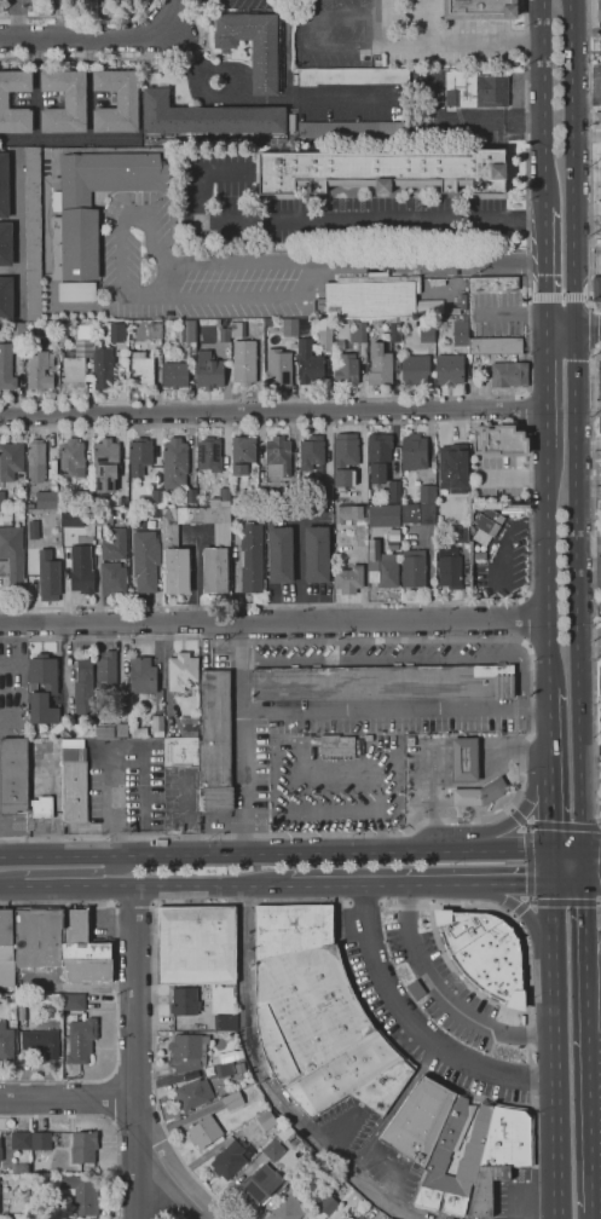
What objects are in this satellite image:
road: (233, 1)
building: (480, 8)
building: (599, 11)
road: (76, 13)
road: (17, 18)
road: (105, 36)
road: (439, 44)
building: (252, 45)
building: (600, 53)
road: (190, 56)
road: (129, 58)
building: (352, 75)
building: (475, 89)
road: (214, 92)
road: (586, 98)
building: (21, 99)
building: (4, 100)
building: (65, 100)
building: (117, 100)
road: (304, 102)
road: (543, 103)
building: (210, 117)
building: (597, 120)
building: (354, 129)
road: (590, 157)
road: (572, 162)
building: (382, 171)
building: (4, 185)
building: (80, 214)
road: (326, 218)
building: (33, 233)
building: (5, 243)
parking lot: (134, 256)
road: (424, 264)
road: (545, 266)
road: (164, 279)
building: (492, 283)
building: (596, 288)
building: (76, 291)
road: (304, 295)
building: (371, 295)
road: (559, 296)
building: (6, 297)
building: (463, 301)
building: (428, 307)
building: (451, 311)
road: (560, 325)
road: (588, 325)
building: (290, 327)
building: (304, 327)
building: (17, 329)
building: (237, 329)
building: (154, 330)
building: (116, 331)
building: (187, 331)
building: (360, 331)
building: (394, 331)
building: (461, 331)
building: (224, 334)
building: (325, 334)
building: (353, 335)
building: (427, 335)
building: (339, 345)
building: (495, 345)
building: (79, 357)
building: (244, 362)
building: (310, 363)
building: (380, 364)
building: (103, 365)
building: (6, 368)
building: (278, 368)
building: (347, 368)
building: (600, 368)
building: (415, 369)
building: (449, 369)
building: (39, 370)
building: (141, 371)
building: (208, 371)
building: (174, 375)
building: (508, 375)
road: (547, 386)
building: (600, 391)
road: (460, 395)
road: (272, 410)
road: (520, 410)
building: (600, 426)
building: (504, 441)
building: (208, 452)
building: (311, 452)
building: (414, 452)
building: (139, 455)
building: (243, 455)
building: (278, 456)
building: (378, 456)
building: (71, 458)
building: (345, 458)
building: (10, 461)
building: (36, 461)
building: (174, 462)
building: (105, 464)
building: (453, 468)
building: (325, 491)
building: (394, 491)
building: (288, 492)
building: (259, 493)
building: (427, 493)
building: (85, 495)
building: (191, 495)
building: (224, 495)
building: (410, 496)
building: (156, 497)
building: (1, 499)
building: (45, 499)
building: (122, 502)
building: (599, 508)
road: (530, 512)
building: (133, 513)
building: (141, 513)
building: (155, 513)
building: (351, 513)
building: (418, 513)
building: (381, 514)
building: (102, 516)
building: (70, 519)
building: (187, 520)
building: (487, 525)
building: (461, 533)
building: (393, 538)
building: (114, 545)
road: (588, 545)
building: (317, 553)
building: (281, 554)
building: (12, 557)
building: (250, 557)
building: (145, 560)
building: (382, 566)
building: (449, 567)
road: (547, 567)
building: (414, 568)
building: (81, 570)
building: (215, 570)
building: (175, 571)
building: (599, 572)
building: (112, 577)
building: (48, 579)
building: (348, 579)
road: (594, 582)
road: (576, 588)
building: (600, 608)
road: (273, 620)
road: (521, 620)
road: (411, 657)
building: (105, 668)
building: (181, 670)
building: (141, 675)
building: (385, 682)
building: (51, 686)
building: (83, 686)
road: (547, 693)
building: (123, 704)
road: (395, 709)
road: (532, 720)
building: (157, 726)
building: (189, 726)
building: (79, 728)
building: (112, 730)
building: (139, 732)
road: (547, 736)
road: (247, 738)
building: (410, 740)
building: (215, 743)
building: (359, 746)
building: (336, 747)
building: (180, 751)
building: (44, 758)
building: (464, 759)
gas station: (464, 759)
road: (376, 768)
building: (13, 775)
building: (74, 781)
building: (479, 793)
building: (41, 807)
road: (509, 809)
road: (548, 813)
road: (504, 826)
road: (562, 826)
road: (600, 826)
road: (600, 849)
road: (566, 850)
traffic signals: (583, 850)
road: (591, 850)
traffic signals: (550, 851)
road: (275, 853)
road: (527, 861)
road: (583, 867)
road: (68, 871)
road: (420, 884)
traffic signals: (551, 884)
road: (576, 884)
traffic signals: (584, 884)
road: (67, 885)
road: (212, 886)
road: (317, 901)
road: (565, 901)
road: (135, 912)
road: (512, 914)
road: (526, 918)
road: (584, 929)
building: (37, 937)
building: (80, 938)
building: (196, 944)
building: (6, 949)
building: (482, 952)
road: (594, 954)
building: (86, 971)
road: (116, 988)
building: (21, 1001)
building: (73, 1001)
building: (185, 1001)
road: (450, 1003)
road: (590, 1004)
building: (22, 1012)
building: (317, 1016)
building: (225, 1022)
road: (415, 1026)
road: (554, 1034)
building: (81, 1040)
building: (6, 1042)
building: (41, 1042)
road: (252, 1047)
road: (134, 1051)
building: (186, 1052)
building: (227, 1057)
road: (135, 1064)
building: (225, 1069)
road: (403, 1090)
building: (192, 1093)
road: (108, 1098)
road: (70, 1099)
building: (232, 1100)
road: (104, 1117)
building: (266, 1120)
road: (594, 1122)
road: (597, 1122)
building: (204, 1132)
building: (284, 1134)
building: (21, 1140)
building: (44, 1140)
building: (294, 1140)
building: (83, 1146)
building: (0, 1150)
building: (273, 1150)
building: (498, 1150)
building: (294, 1156)
building: (229, 1160)
building: (0, 1162)
building: (21, 1168)
road: (398, 1171)
road: (169, 1172)
building: (296, 1175)
building: (258, 1185)
road: (368, 1189)
building: (80, 1192)
building: (328, 1204)
building: (288, 1208)
road: (596, 1215)
road: (173, 1218)
building: (356, 1218)
building: (388, 1218)

